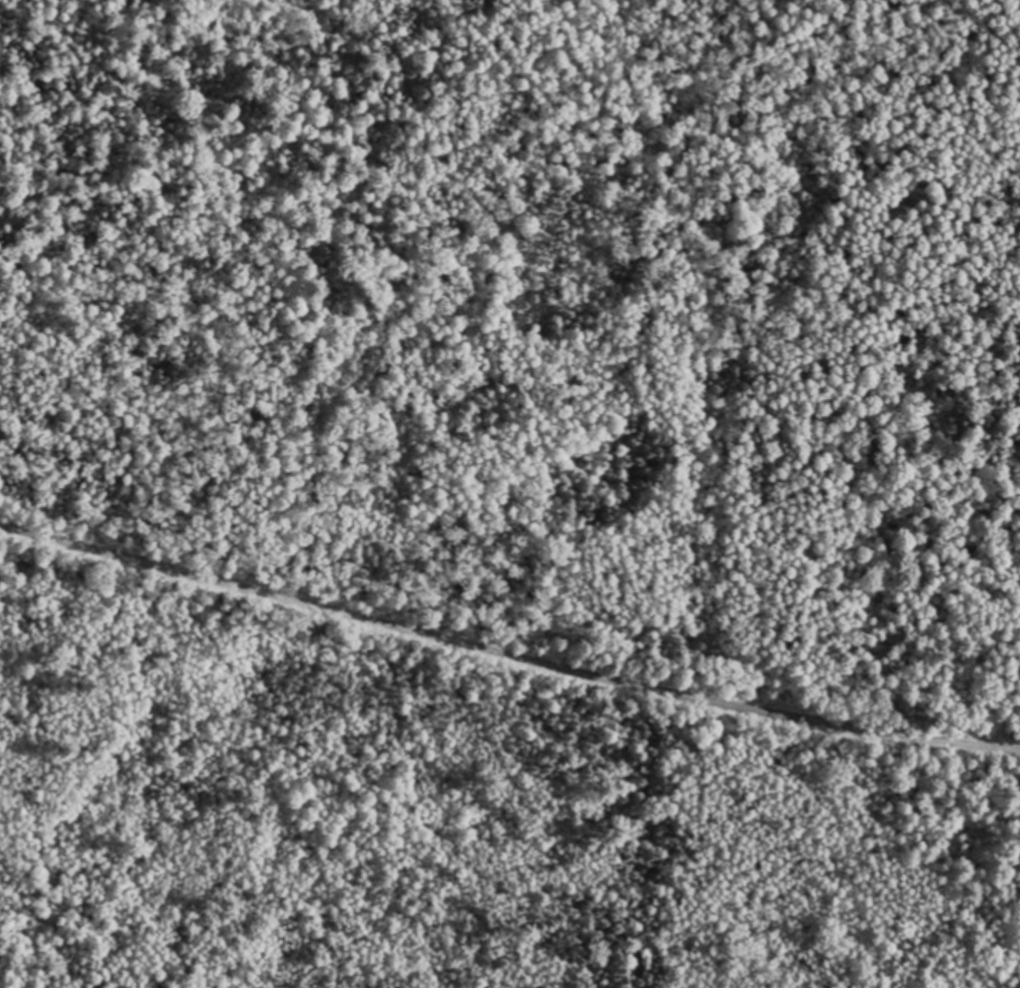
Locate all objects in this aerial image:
road: (506, 655)

